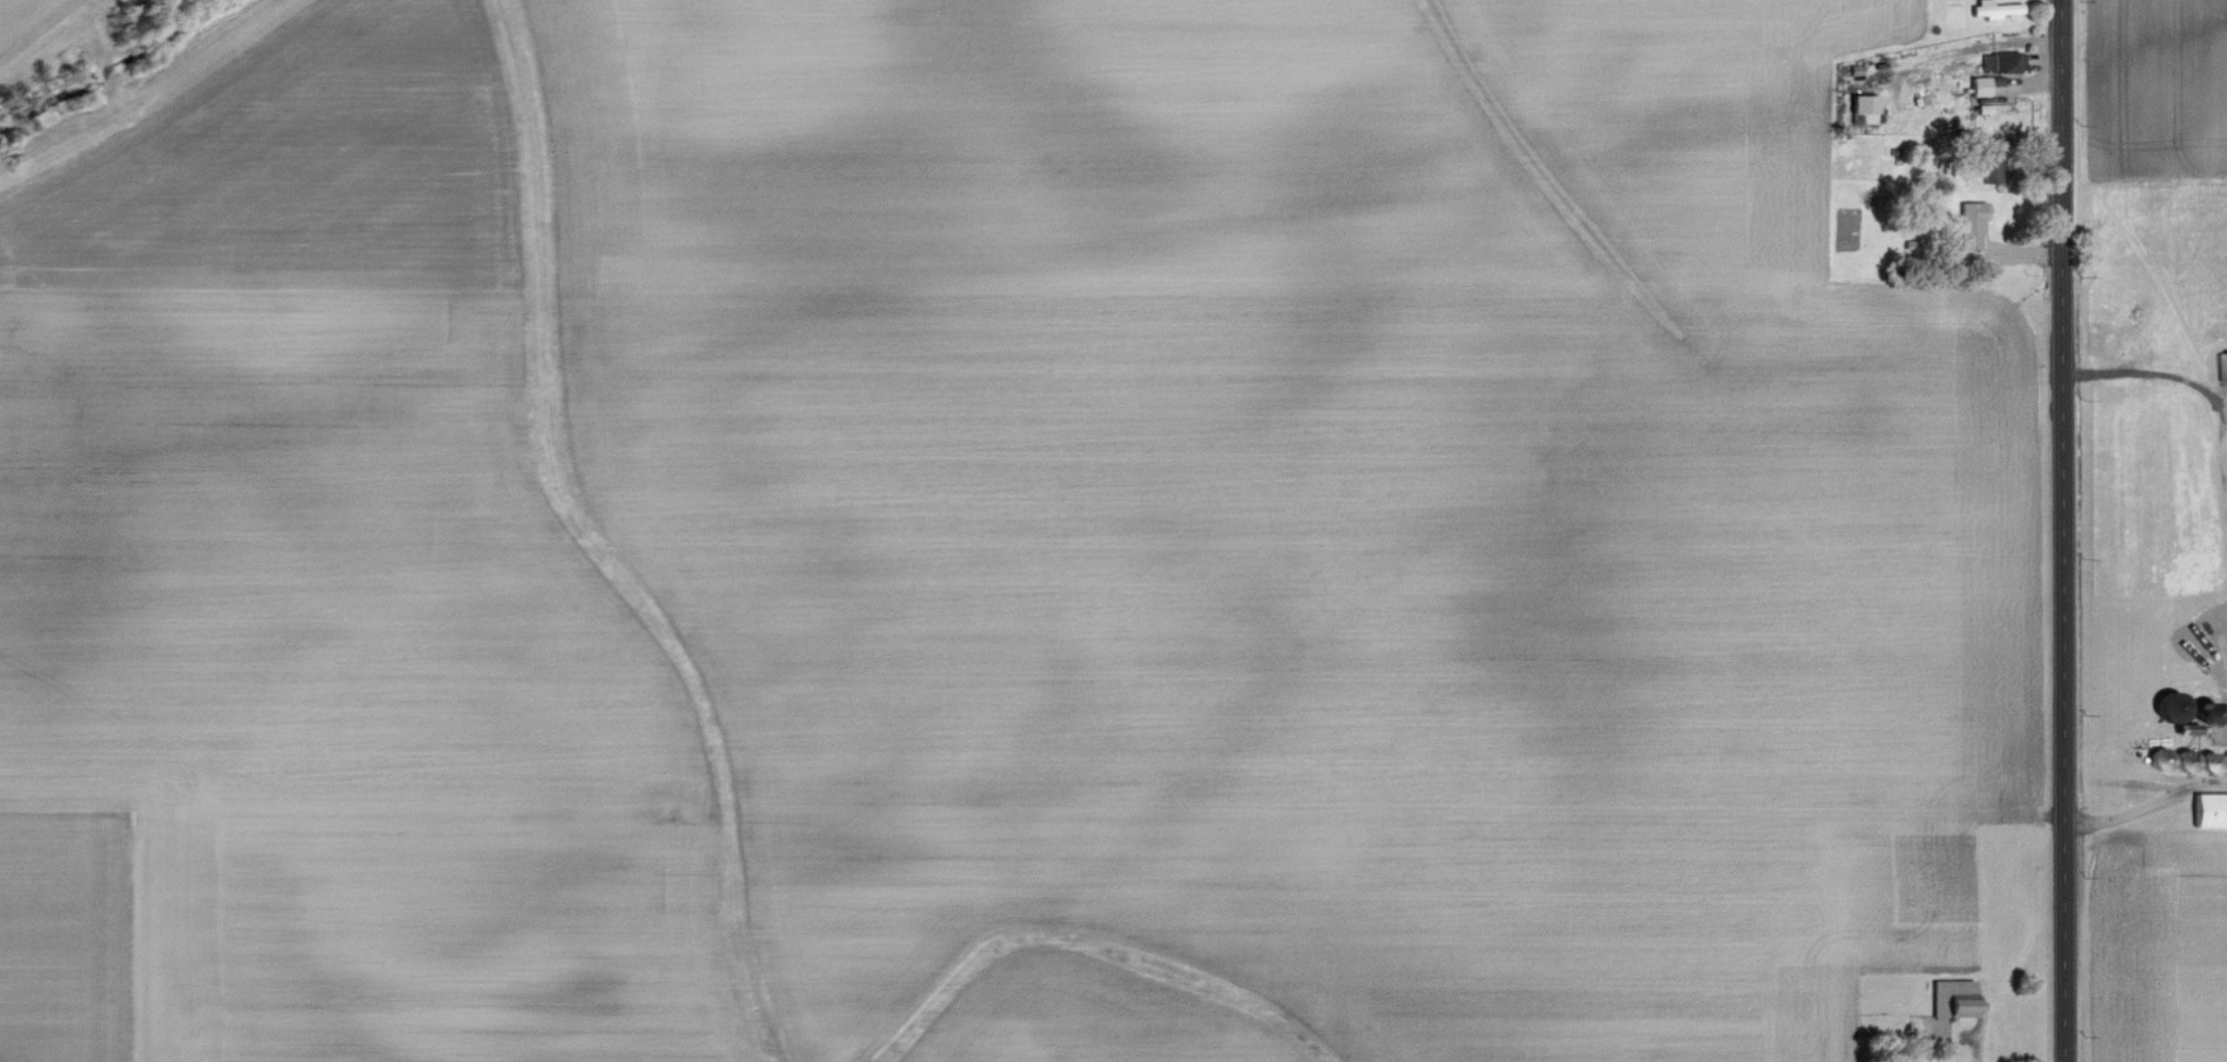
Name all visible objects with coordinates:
building: (1993, 9)
building: (2002, 61)
building: (1863, 107)
building: (1972, 225)
building: (2222, 367)
road: (2061, 530)
building: (2210, 810)
building: (1952, 999)

